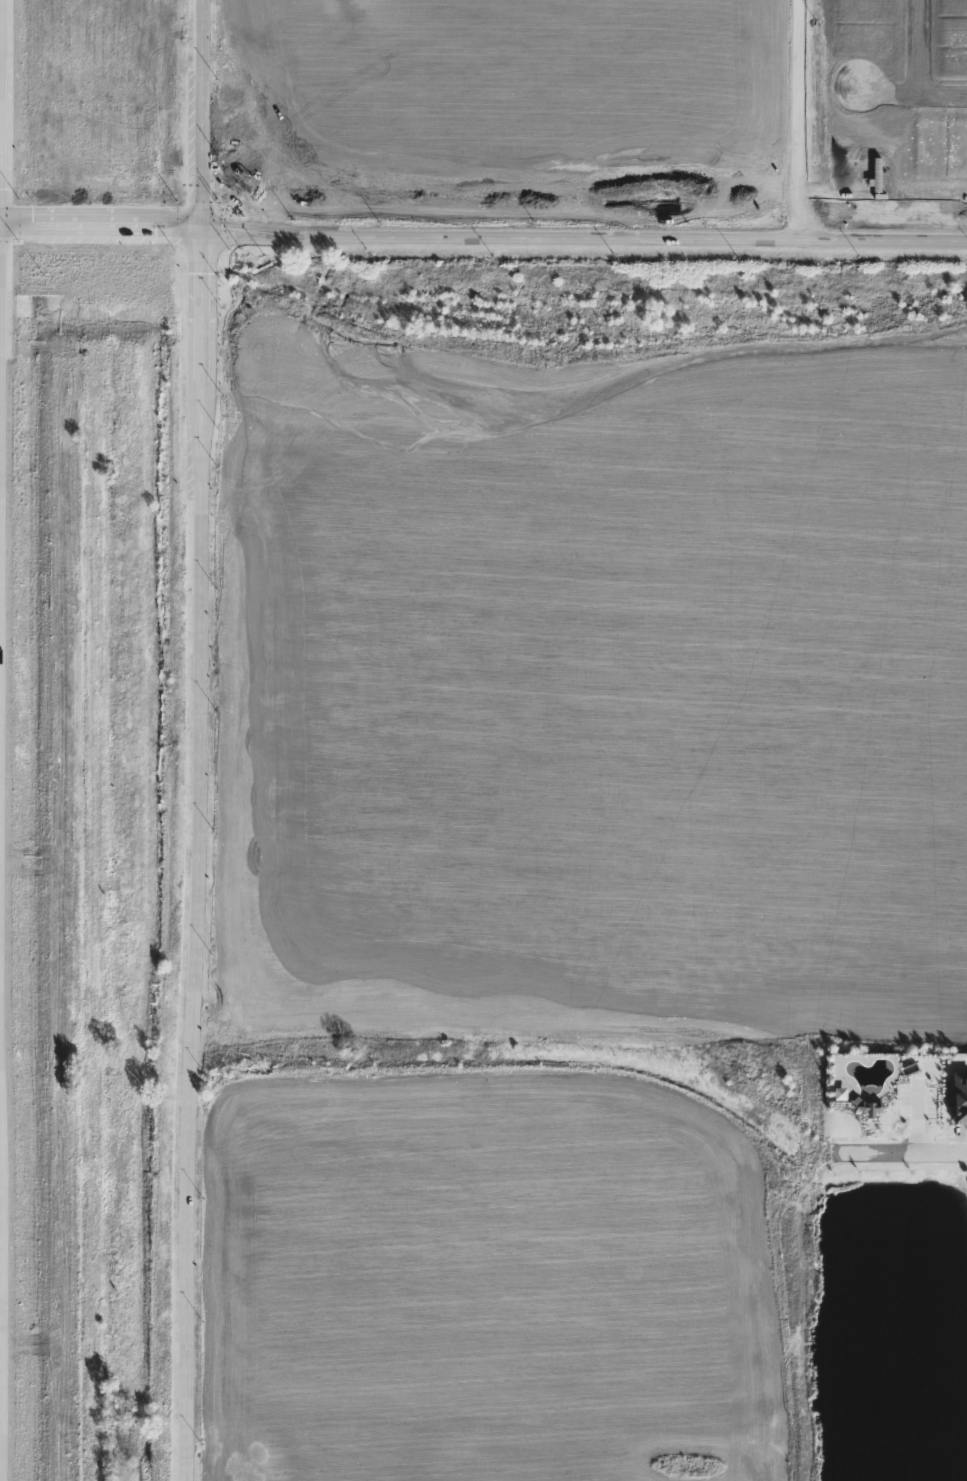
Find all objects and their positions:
road: (919, 45)
road: (910, 89)
road: (199, 110)
road: (799, 122)
traffic signals: (199, 222)
road: (482, 240)
road: (199, 301)
road: (196, 931)
road: (898, 1153)
road: (898, 1166)
road: (0, 1205)

